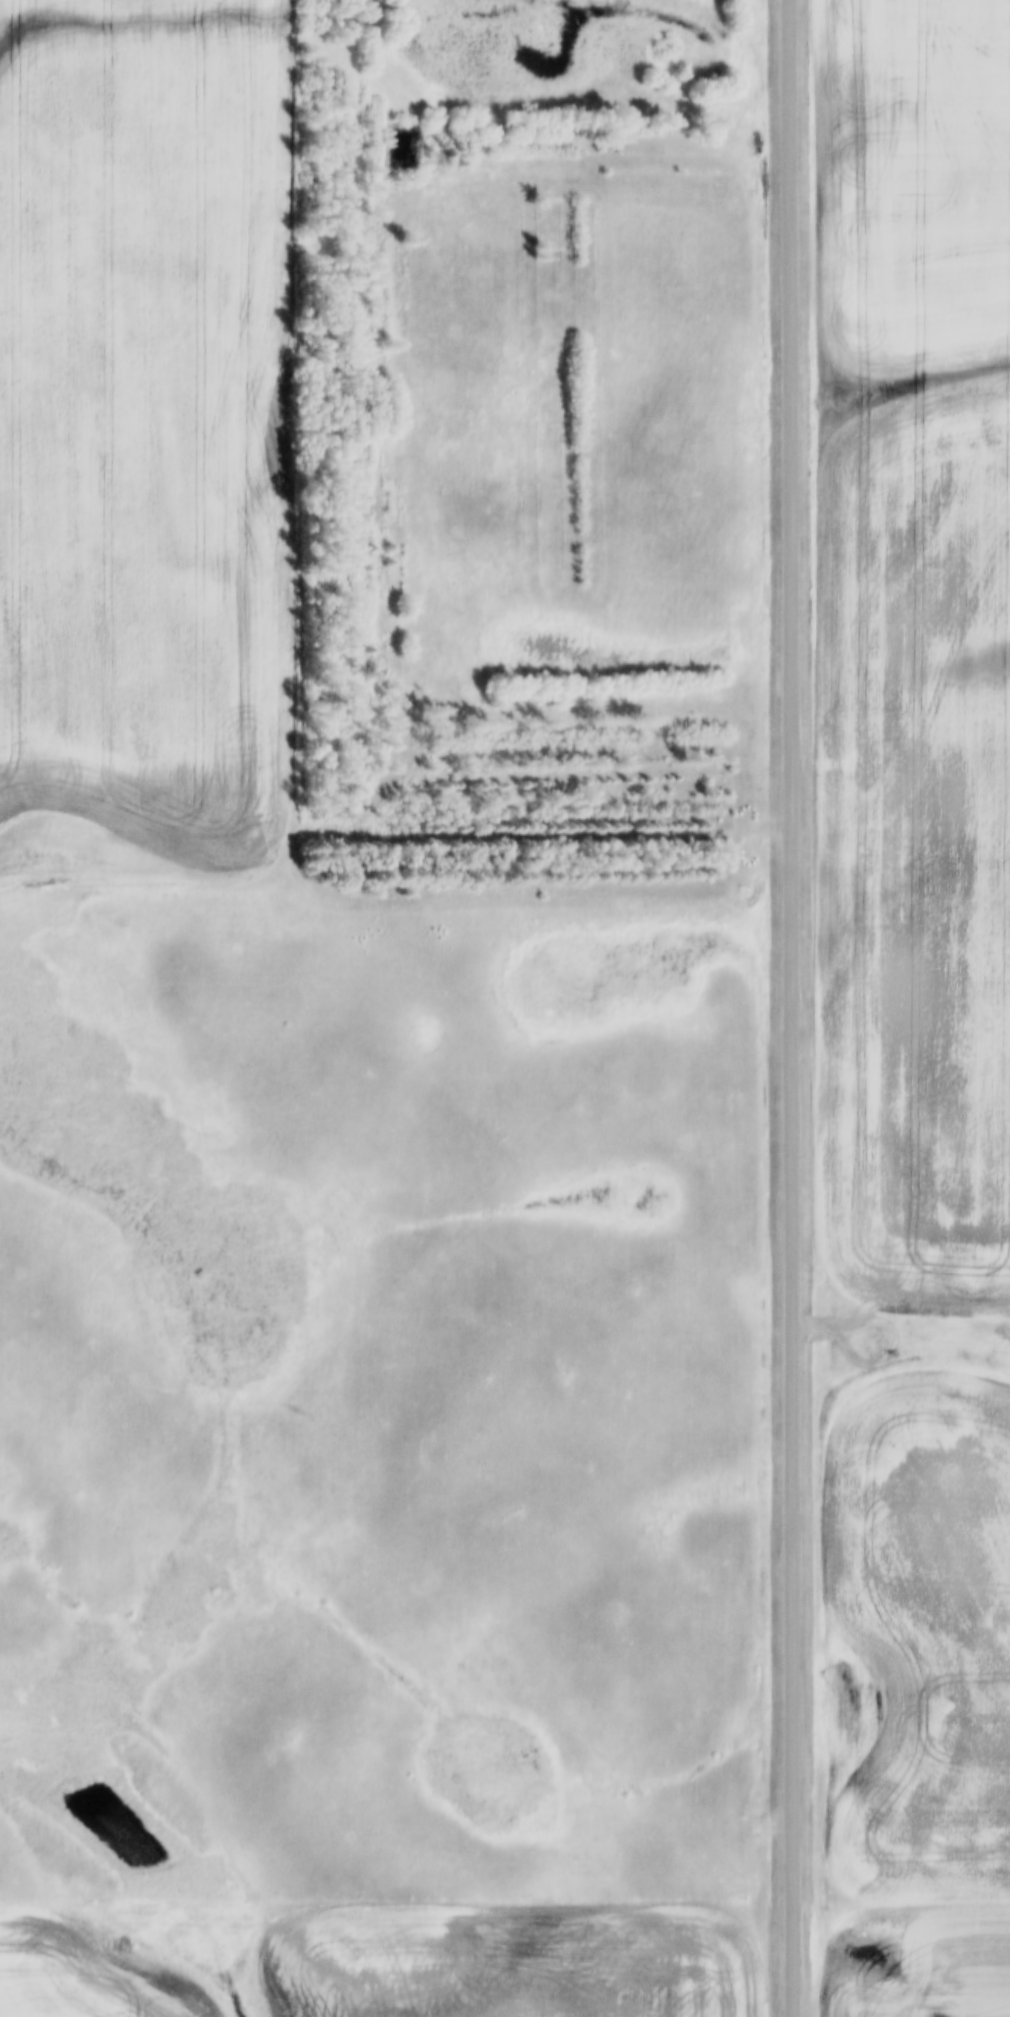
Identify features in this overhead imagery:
road: (793, 1008)

